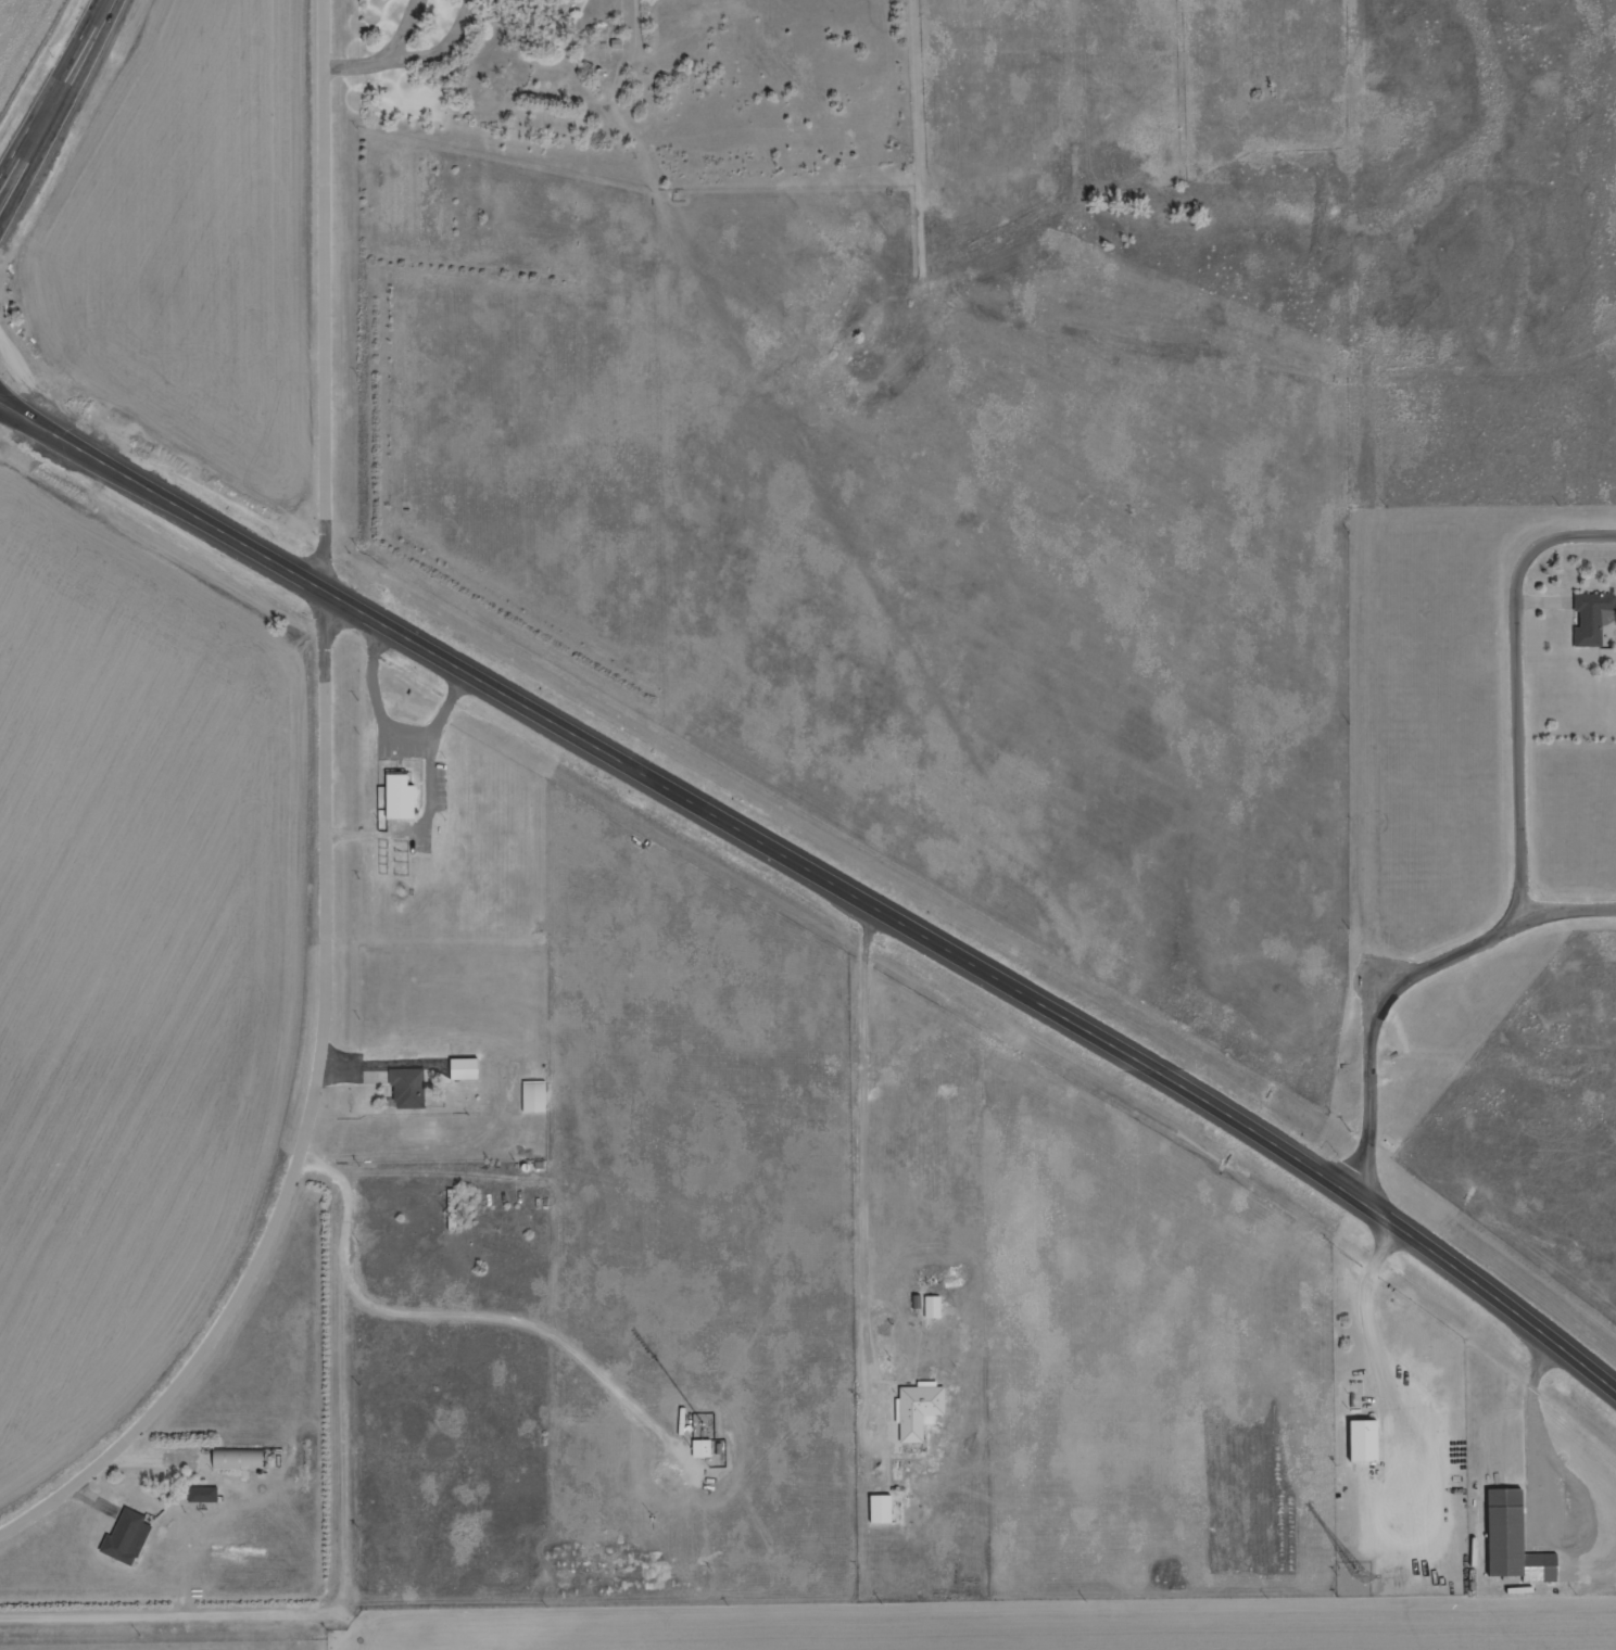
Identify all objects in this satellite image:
road: (58, 100)
road: (13, 403)
road: (13, 415)
building: (1589, 618)
road: (1525, 696)
building: (405, 802)
road: (329, 828)
road: (821, 875)
road: (1565, 916)
road: (1376, 1019)
building: (469, 1074)
building: (415, 1092)
building: (541, 1101)
road: (870, 1170)
building: (451, 1209)
building: (931, 1307)
building: (939, 1312)
road: (476, 1321)
building: (925, 1414)
building: (1368, 1446)
building: (699, 1448)
building: (709, 1452)
building: (243, 1464)
building: (199, 1494)
building: (211, 1499)
building: (134, 1541)
building: (1519, 1546)

